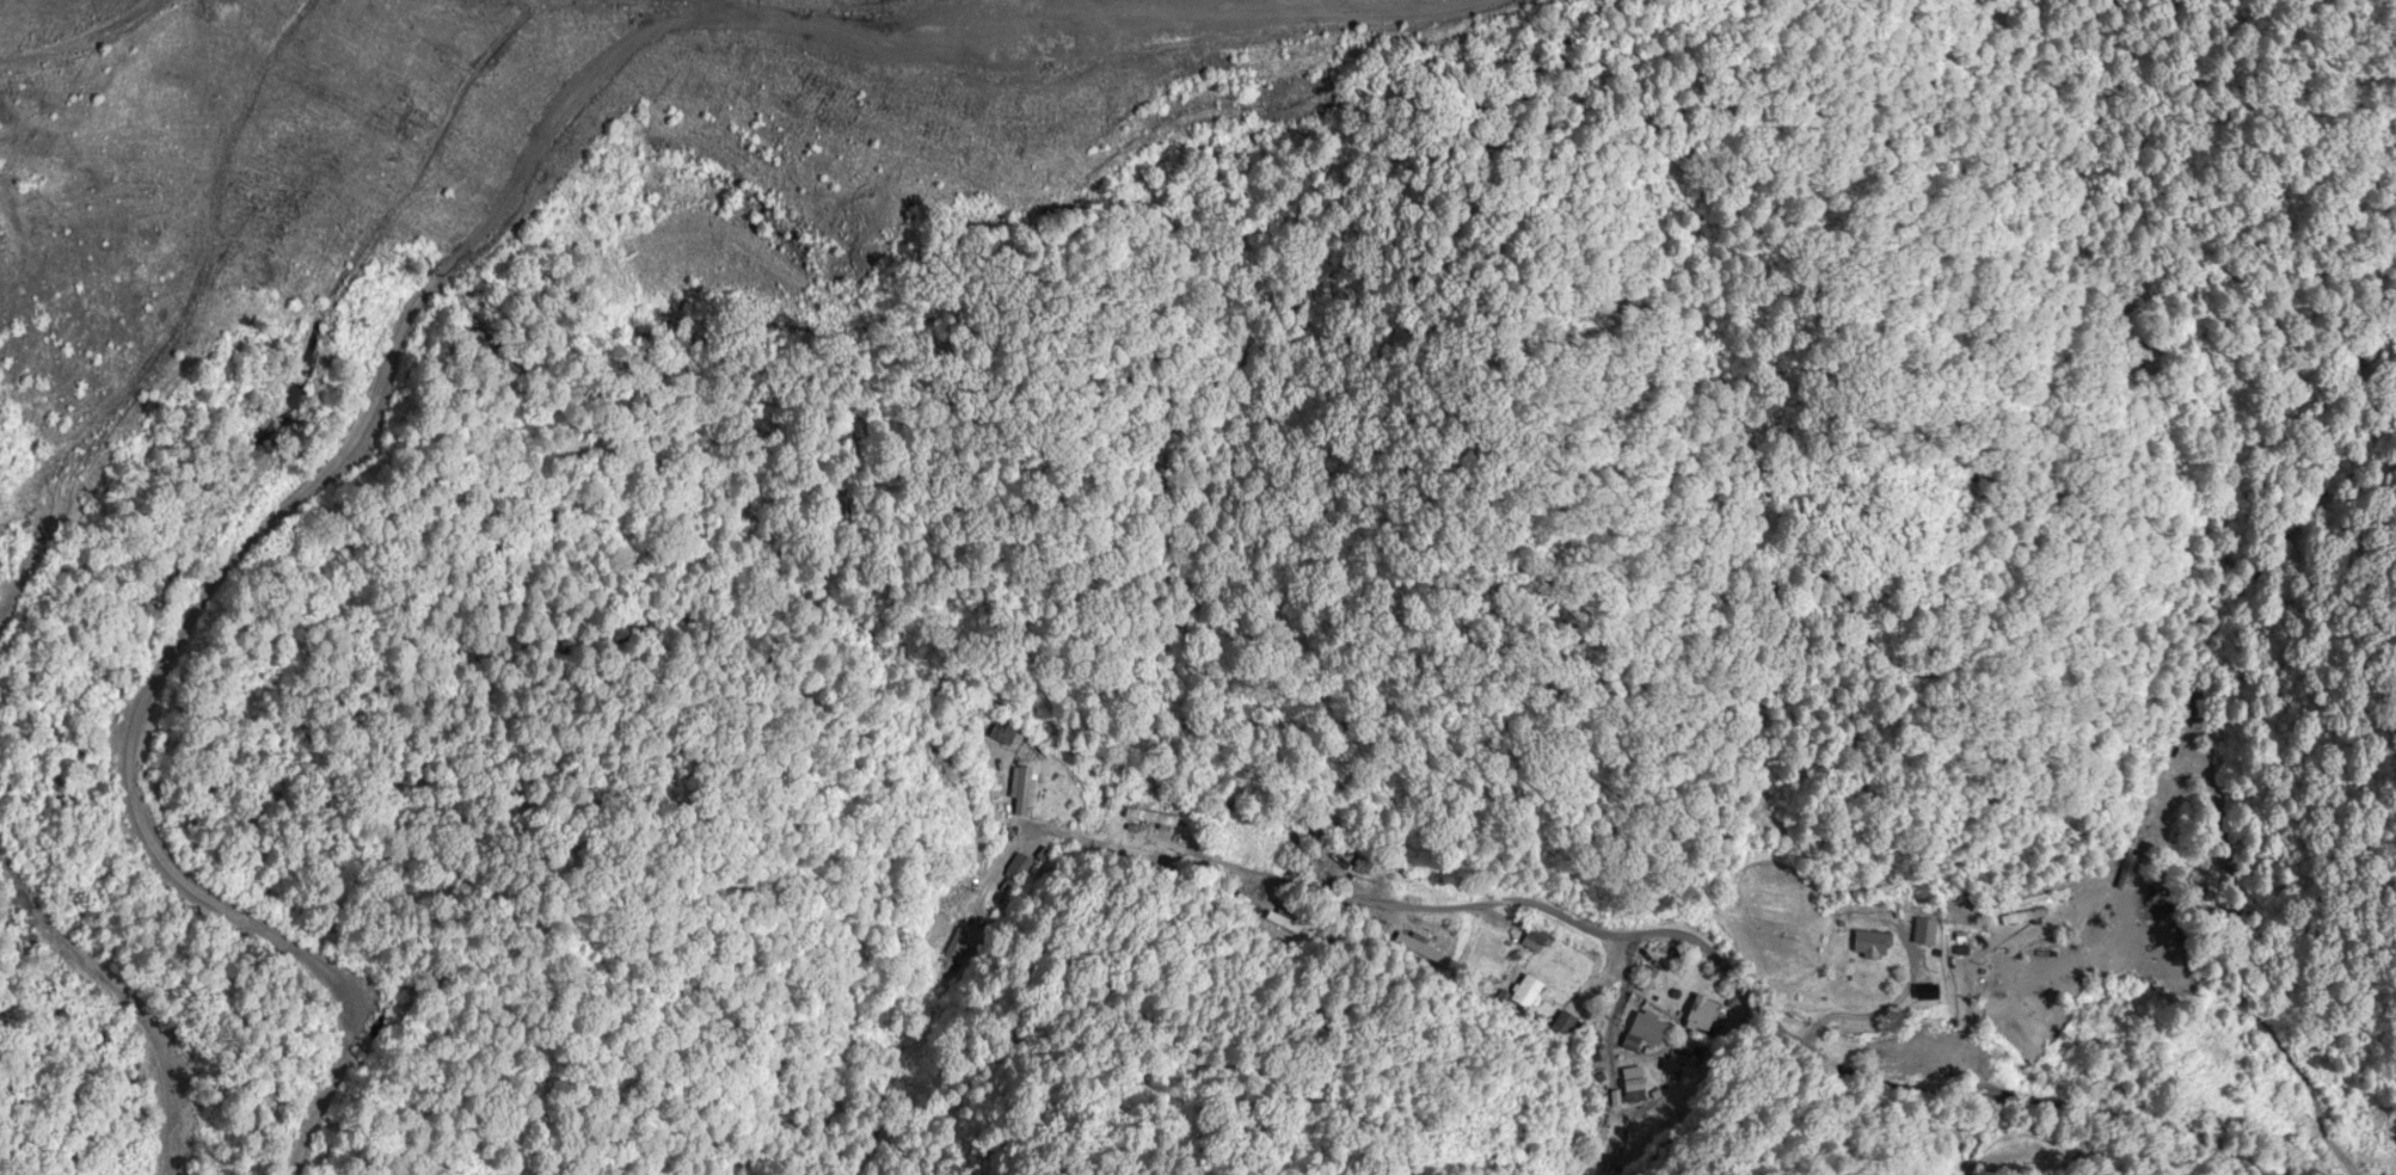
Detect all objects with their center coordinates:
building: (1022, 789)
building: (1015, 866)
building: (1362, 866)
building: (1274, 917)
building: (2027, 917)
building: (1925, 931)
building: (1541, 941)
building: (1872, 945)
building: (1419, 947)
building: (1647, 980)
building: (1531, 993)
building: (1702, 1015)
building: (2025, 1017)
building: (1560, 1023)
road: (1701, 1028)
building: (1646, 1032)

